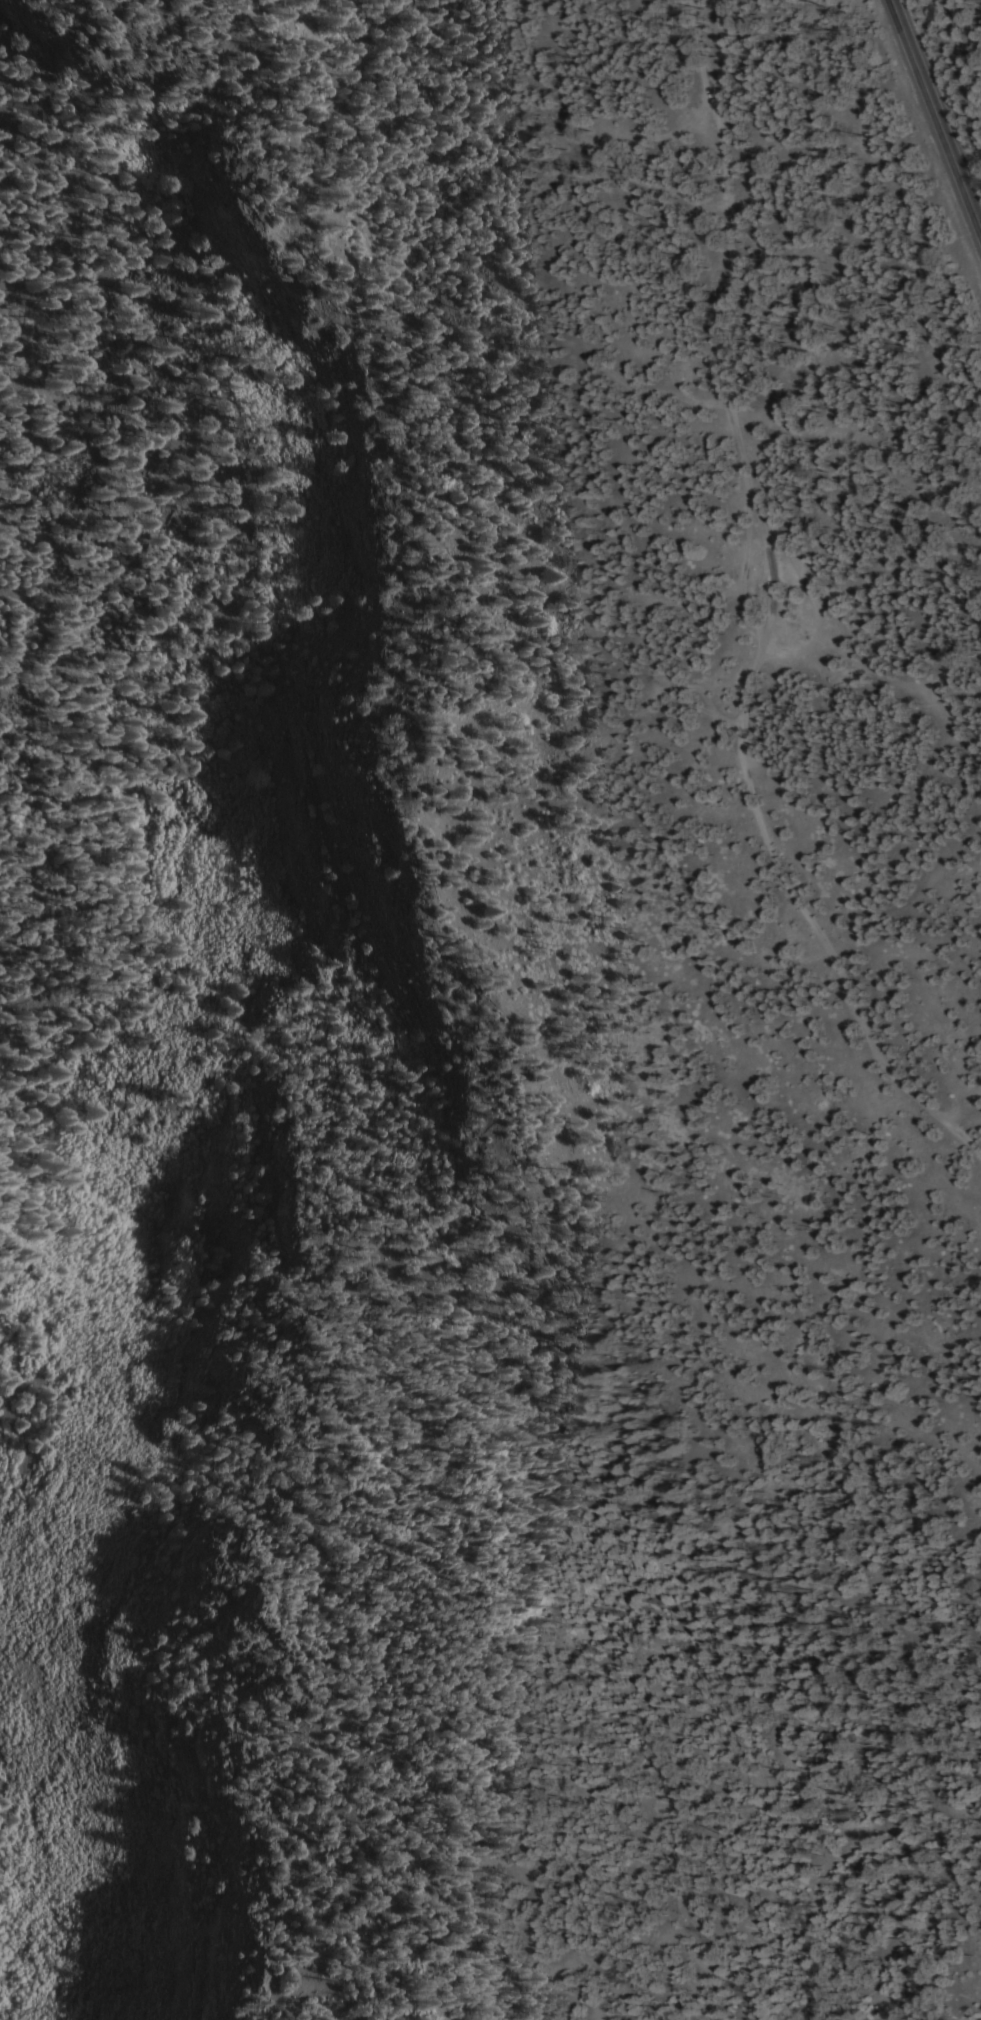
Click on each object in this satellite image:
road: (965, 25)
road: (303, 115)
road: (935, 115)
road: (975, 202)
road: (713, 631)
road: (978, 2015)

